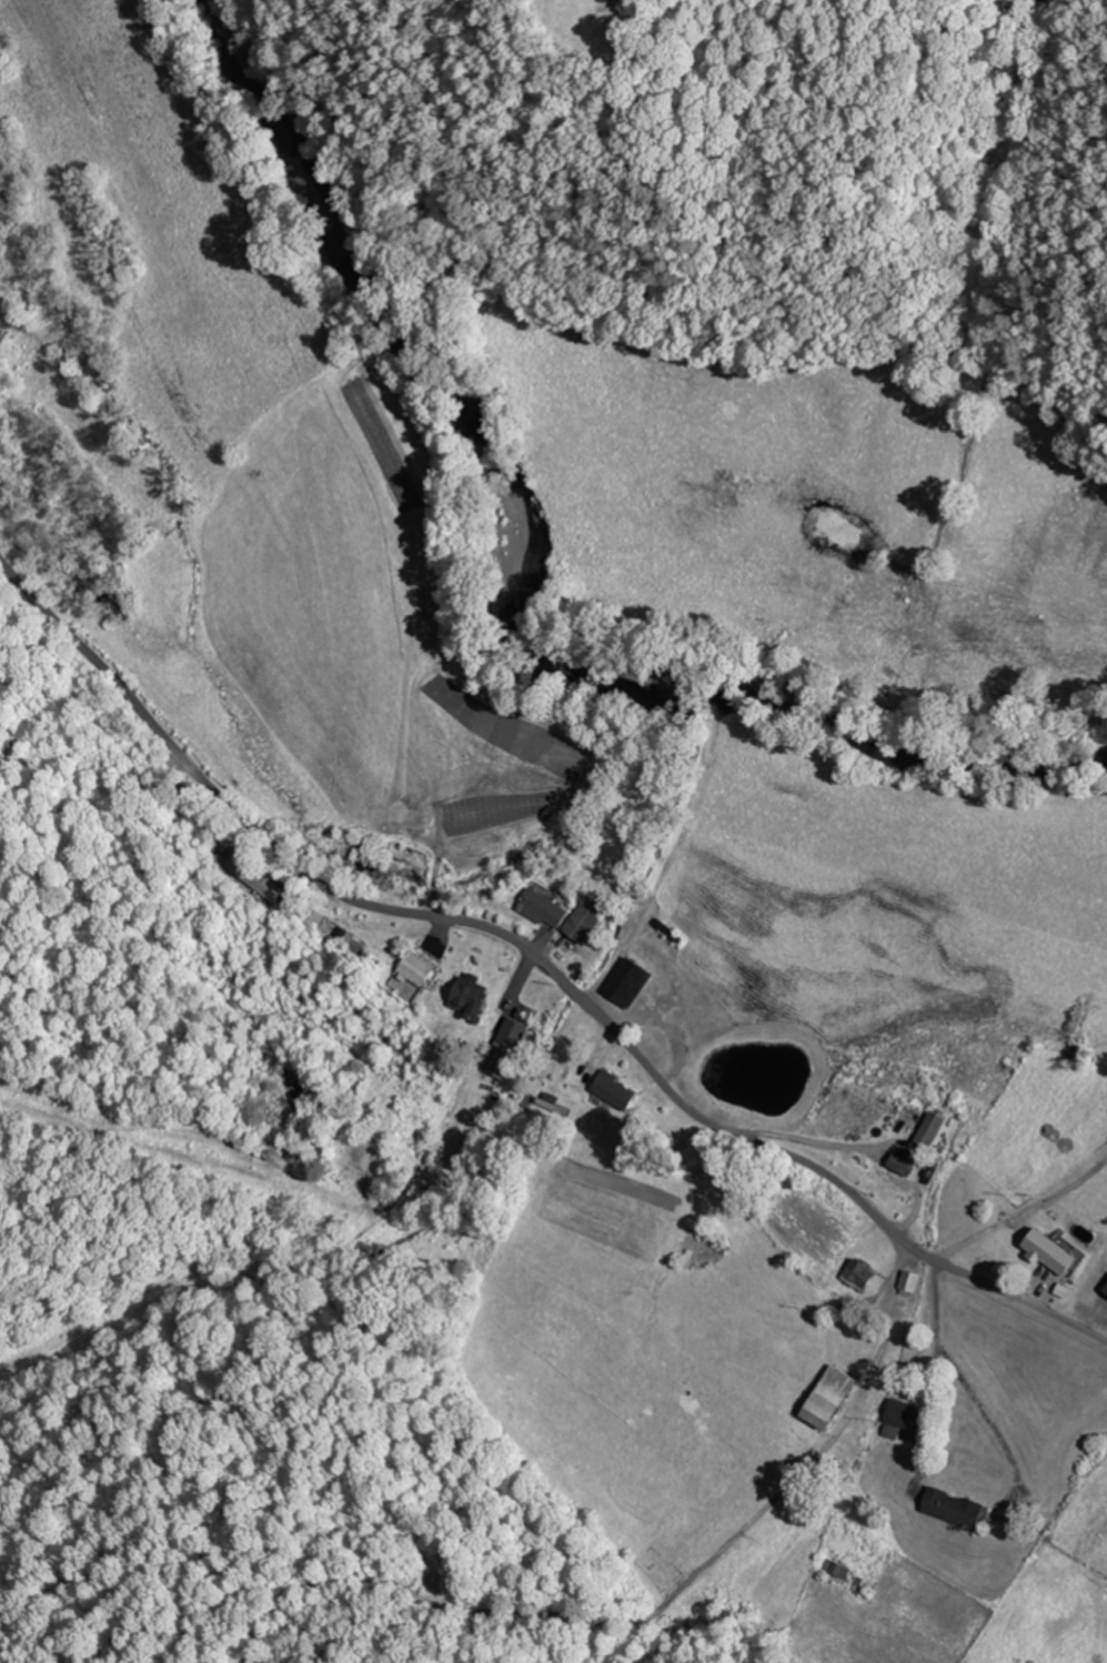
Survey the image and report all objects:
river: (531, 576)
building: (224, 841)
building: (258, 876)
building: (544, 909)
building: (587, 920)
road: (541, 960)
building: (417, 969)
building: (631, 982)
building: (469, 996)
building: (514, 1035)
building: (617, 1091)
building: (878, 1113)
building: (915, 1120)
building: (445, 1172)
building: (1047, 1250)
building: (863, 1276)
building: (912, 1283)
building: (836, 1399)
building: (902, 1418)
building: (957, 1508)
building: (839, 1568)

